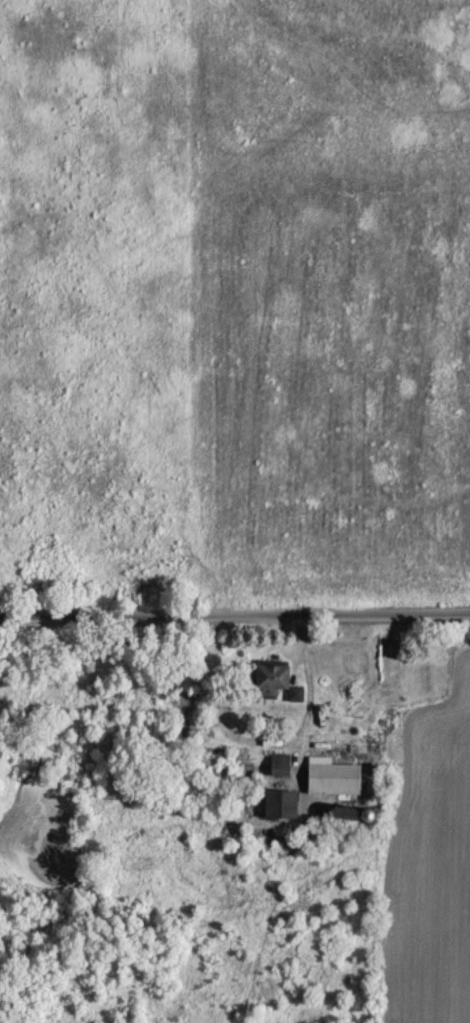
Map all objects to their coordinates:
road: (235, 613)
building: (269, 679)
building: (294, 693)
building: (345, 776)
building: (278, 804)

